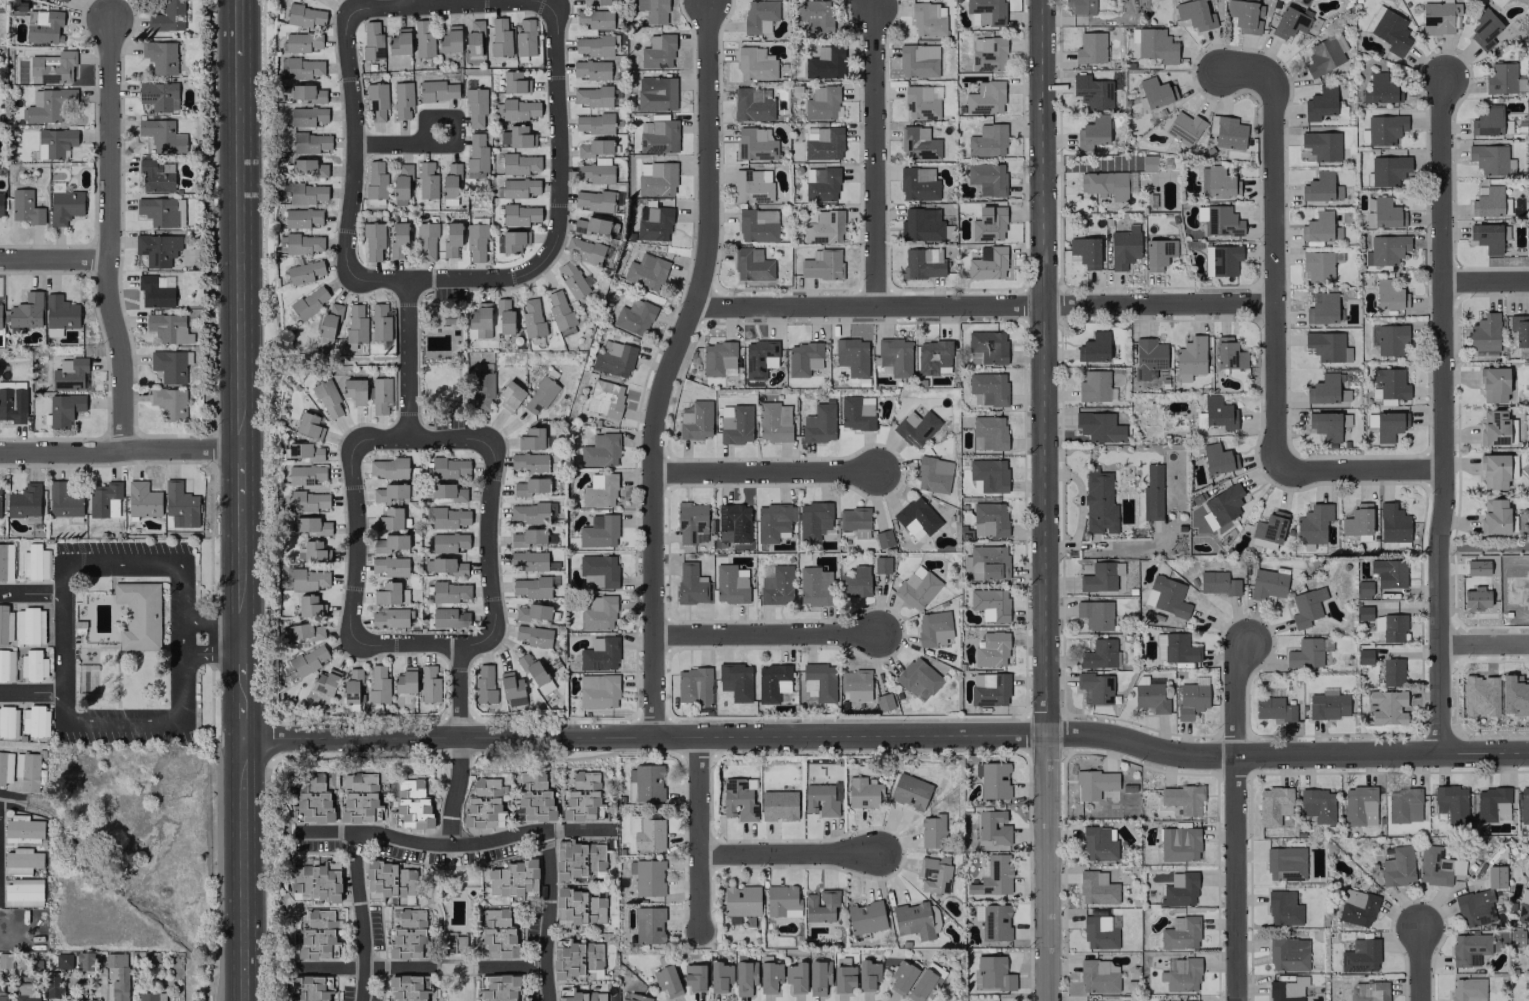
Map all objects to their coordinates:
building: (65, 0)
road: (548, 1)
road: (414, 2)
building: (595, 2)
road: (442, 4)
building: (1081, 6)
building: (653, 10)
building: (985, 12)
building: (1195, 14)
building: (305, 15)
building: (759, 15)
building: (815, 15)
building: (1245, 15)
building: (167, 16)
building: (1439, 17)
building: (595, 18)
building: (928, 19)
building: (1290, 21)
building: (45, 27)
building: (1484, 28)
road: (237, 29)
building: (1390, 30)
building: (474, 37)
building: (499, 37)
building: (423, 38)
building: (525, 38)
building: (450, 39)
building: (372, 40)
building: (301, 41)
building: (398, 42)
building: (593, 45)
building: (1156, 45)
building: (1090, 47)
building: (657, 51)
building: (987, 53)
building: (1325, 54)
building: (160, 56)
building: (917, 61)
building: (825, 63)
building: (755, 64)
building: (51, 67)
building: (302, 68)
building: (591, 69)
building: (1503, 78)
building: (515, 82)
building: (1381, 89)
building: (437, 90)
building: (1092, 91)
building: (1156, 92)
building: (306, 93)
building: (656, 93)
building: (159, 95)
building: (592, 96)
building: (985, 98)
building: (402, 99)
building: (376, 102)
building: (922, 102)
building: (822, 103)
building: (1320, 103)
building: (753, 104)
building: (48, 105)
building: (475, 107)
building: (515, 109)
building: (307, 116)
building: (1487, 121)
building: (594, 123)
building: (1183, 128)
building: (1385, 128)
building: (1092, 132)
building: (1229, 133)
building: (162, 135)
building: (516, 136)
road: (559, 136)
building: (658, 136)
building: (987, 141)
building: (55, 142)
building: (310, 142)
building: (755, 143)
building: (822, 143)
building: (918, 143)
road: (353, 144)
road: (453, 145)
building: (1321, 145)
building: (594, 148)
building: (476, 152)
road: (874, 155)
building: (1491, 159)
building: (520, 163)
building: (1148, 163)
building: (308, 168)
building: (1389, 169)
building: (596, 170)
building: (155, 174)
building: (656, 178)
building: (987, 178)
building: (375, 179)
building: (426, 180)
building: (450, 180)
building: (1217, 182)
building: (918, 183)
building: (821, 184)
building: (1106, 184)
building: (401, 185)
building: (752, 185)
building: (1318, 186)
building: (520, 188)
building: (306, 193)
building: (593, 200)
building: (1487, 201)
building: (0, 203)
building: (65, 206)
building: (25, 207)
building: (161, 211)
building: (1200, 212)
building: (1387, 213)
building: (520, 214)
building: (1369, 214)
building: (302, 217)
building: (1221, 221)
building: (653, 223)
building: (988, 223)
building: (757, 224)
building: (591, 225)
building: (921, 225)
building: (824, 227)
building: (1317, 228)
road: (110, 234)
building: (1488, 236)
building: (451, 239)
building: (397, 240)
building: (513, 240)
building: (426, 241)
building: (475, 241)
building: (373, 242)
building: (299, 243)
building: (1124, 246)
road: (1274, 247)
building: (157, 249)
building: (583, 249)
building: (1385, 249)
building: (1085, 251)
road: (239, 253)
building: (1158, 253)
road: (55, 259)
building: (1221, 259)
building: (922, 262)
building: (987, 263)
building: (752, 264)
building: (822, 264)
building: (1317, 266)
building: (304, 272)
building: (645, 272)
road: (446, 279)
building: (572, 280)
road: (1486, 283)
building: (154, 292)
building: (1390, 294)
building: (310, 301)
road: (983, 304)
building: (1321, 308)
building: (559, 309)
building: (26, 312)
building: (60, 312)
building: (0, 314)
building: (634, 316)
building: (504, 317)
building: (532, 318)
building: (480, 319)
building: (379, 321)
building: (329, 323)
building: (356, 324)
building: (168, 328)
building: (1519, 329)
building: (1484, 336)
building: (1391, 339)
building: (1327, 346)
building: (986, 347)
building: (1094, 347)
building: (1229, 353)
building: (1191, 355)
building: (852, 356)
building: (895, 356)
building: (759, 357)
building: (933, 357)
building: (1147, 357)
building: (613, 358)
building: (718, 358)
building: (803, 358)
road: (410, 360)
building: (170, 365)
road: (670, 367)
building: (69, 374)
building: (1391, 383)
building: (1493, 384)
building: (988, 388)
building: (1322, 389)
building: (355, 390)
building: (483, 391)
building: (510, 395)
building: (380, 396)
building: (540, 396)
building: (605, 398)
building: (327, 399)
building: (12, 401)
building: (169, 403)
building: (64, 409)
building: (856, 412)
building: (1218, 412)
road: (1445, 417)
building: (696, 420)
building: (774, 421)
building: (819, 422)
building: (735, 424)
building: (309, 425)
building: (1325, 425)
building: (1389, 425)
building: (1099, 426)
building: (916, 427)
building: (1496, 427)
building: (988, 432)
building: (531, 438)
road: (423, 439)
road: (120, 449)
building: (600, 450)
building: (304, 451)
building: (1218, 458)
building: (529, 462)
building: (387, 467)
building: (449, 467)
road: (1361, 468)
road: (765, 471)
building: (1494, 471)
building: (305, 474)
building: (933, 474)
building: (989, 474)
building: (530, 486)
building: (599, 490)
building: (1153, 491)
building: (389, 492)
building: (448, 492)
building: (104, 498)
building: (142, 499)
building: (24, 500)
building: (63, 500)
road: (1046, 500)
building: (308, 501)
building: (1100, 503)
building: (180, 504)
building: (1222, 506)
building: (528, 512)
building: (1494, 515)
building: (449, 517)
building: (390, 518)
building: (917, 518)
building: (989, 519)
building: (813, 520)
building: (1357, 520)
building: (773, 521)
building: (854, 521)
building: (691, 523)
building: (733, 523)
building: (1393, 523)
building: (312, 525)
building: (1313, 525)
building: (1268, 530)
building: (599, 531)
road: (242, 535)
building: (527, 537)
road: (487, 538)
building: (883, 538)
building: (448, 542)
building: (390, 543)
road: (356, 545)
road: (1484, 548)
building: (315, 551)
building: (528, 560)
building: (6, 561)
building: (34, 562)
building: (987, 562)
road: (151, 564)
building: (881, 564)
building: (390, 566)
building: (447, 566)
building: (598, 571)
building: (1388, 572)
building: (1101, 576)
building: (308, 578)
building: (855, 581)
building: (691, 583)
building: (1218, 583)
building: (1268, 583)
building: (731, 584)
building: (775, 584)
building: (530, 586)
building: (814, 586)
building: (916, 587)
building: (1363, 589)
building: (450, 592)
road: (32, 593)
building: (390, 593)
building: (1169, 596)
building: (990, 604)
building: (309, 606)
building: (1306, 606)
building: (533, 611)
building: (1363, 612)
building: (598, 613)
building: (1095, 614)
building: (138, 615)
building: (449, 617)
building: (390, 618)
road: (212, 622)
building: (5, 623)
building: (29, 625)
building: (1390, 627)
building: (933, 628)
building: (305, 631)
building: (534, 635)
road: (767, 636)
road: (244, 638)
road: (1484, 641)
road: (65, 643)
road: (426, 644)
building: (1159, 646)
building: (1179, 648)
building: (991, 650)
building: (1308, 652)
road: (212, 654)
building: (599, 654)
building: (1099, 654)
building: (1364, 656)
building: (307, 660)
building: (7, 664)
building: (32, 665)
building: (532, 669)
building: (1392, 671)
road: (244, 675)
building: (918, 677)
building: (405, 680)
building: (735, 680)
building: (325, 682)
building: (378, 683)
building: (429, 683)
building: (483, 683)
building: (773, 683)
building: (855, 684)
building: (693, 685)
building: (352, 686)
building: (1096, 687)
building: (512, 689)
building: (989, 689)
building: (598, 691)
road: (461, 692)
road: (32, 693)
building: (1150, 697)
building: (1191, 699)
building: (883, 701)
building: (1327, 704)
building: (1388, 707)
building: (1273, 708)
road: (244, 717)
building: (34, 720)
building: (8, 721)
road: (173, 723)
road: (887, 734)
building: (5, 767)
building: (27, 771)
building: (993, 779)
building: (646, 781)
building: (1094, 783)
road: (456, 791)
building: (910, 791)
building: (863, 793)
building: (533, 796)
building: (359, 797)
building: (583, 797)
building: (820, 799)
building: (1182, 799)
building: (314, 800)
building: (738, 800)
road: (19, 803)
building: (412, 803)
building: (1451, 803)
building: (1524, 803)
building: (484, 804)
building: (1492, 804)
building: (778, 805)
building: (1273, 805)
building: (1359, 805)
building: (1404, 805)
building: (1316, 806)
road: (1238, 819)
building: (993, 827)
building: (23, 829)
building: (933, 831)
building: (649, 833)
road: (699, 833)
building: (1099, 843)
building: (1180, 843)
road: (456, 847)
road: (789, 855)
building: (578, 859)
building: (21, 861)
building: (1285, 863)
building: (1398, 866)
building: (1437, 866)
road: (244, 869)
building: (934, 874)
building: (993, 875)
building: (648, 877)
building: (513, 878)
building: (314, 879)
building: (389, 881)
building: (1096, 888)
building: (1180, 889)
building: (22, 892)
building: (741, 900)
building: (782, 900)
building: (820, 905)
building: (1523, 906)
building: (1356, 907)
building: (1283, 908)
building: (1474, 908)
road: (549, 916)
road: (362, 917)
building: (865, 917)
building: (915, 920)
building: (995, 922)
building: (649, 925)
building: (1099, 932)
building: (1180, 933)
building: (406, 934)
building: (497, 934)
building: (316, 935)
building: (1469, 948)
building: (1527, 950)
building: (1288, 953)
building: (1360, 955)
building: (577, 958)
building: (5, 960)
building: (63, 960)
building: (84, 961)
road: (1419, 963)
road: (365, 968)
road: (514, 968)
building: (935, 969)
building: (994, 973)
building: (868, 974)
building: (1180, 974)
building: (744, 975)
building: (118, 976)
building: (719, 976)
building: (769, 976)
building: (796, 976)
building: (818, 976)
building: (1098, 976)
building: (694, 977)
building: (901, 977)
building: (843, 978)
building: (667, 980)
building: (52, 985)
building: (923, 985)
road: (108, 986)
building: (310, 987)
building: (407, 987)
building: (500, 988)
building: (1287, 989)
building: (1467, 989)
building: (1369, 991)
building: (2, 994)
building: (28, 995)
building: (151, 996)
building: (583, 996)
building: (637, 997)
building: (86, 999)

